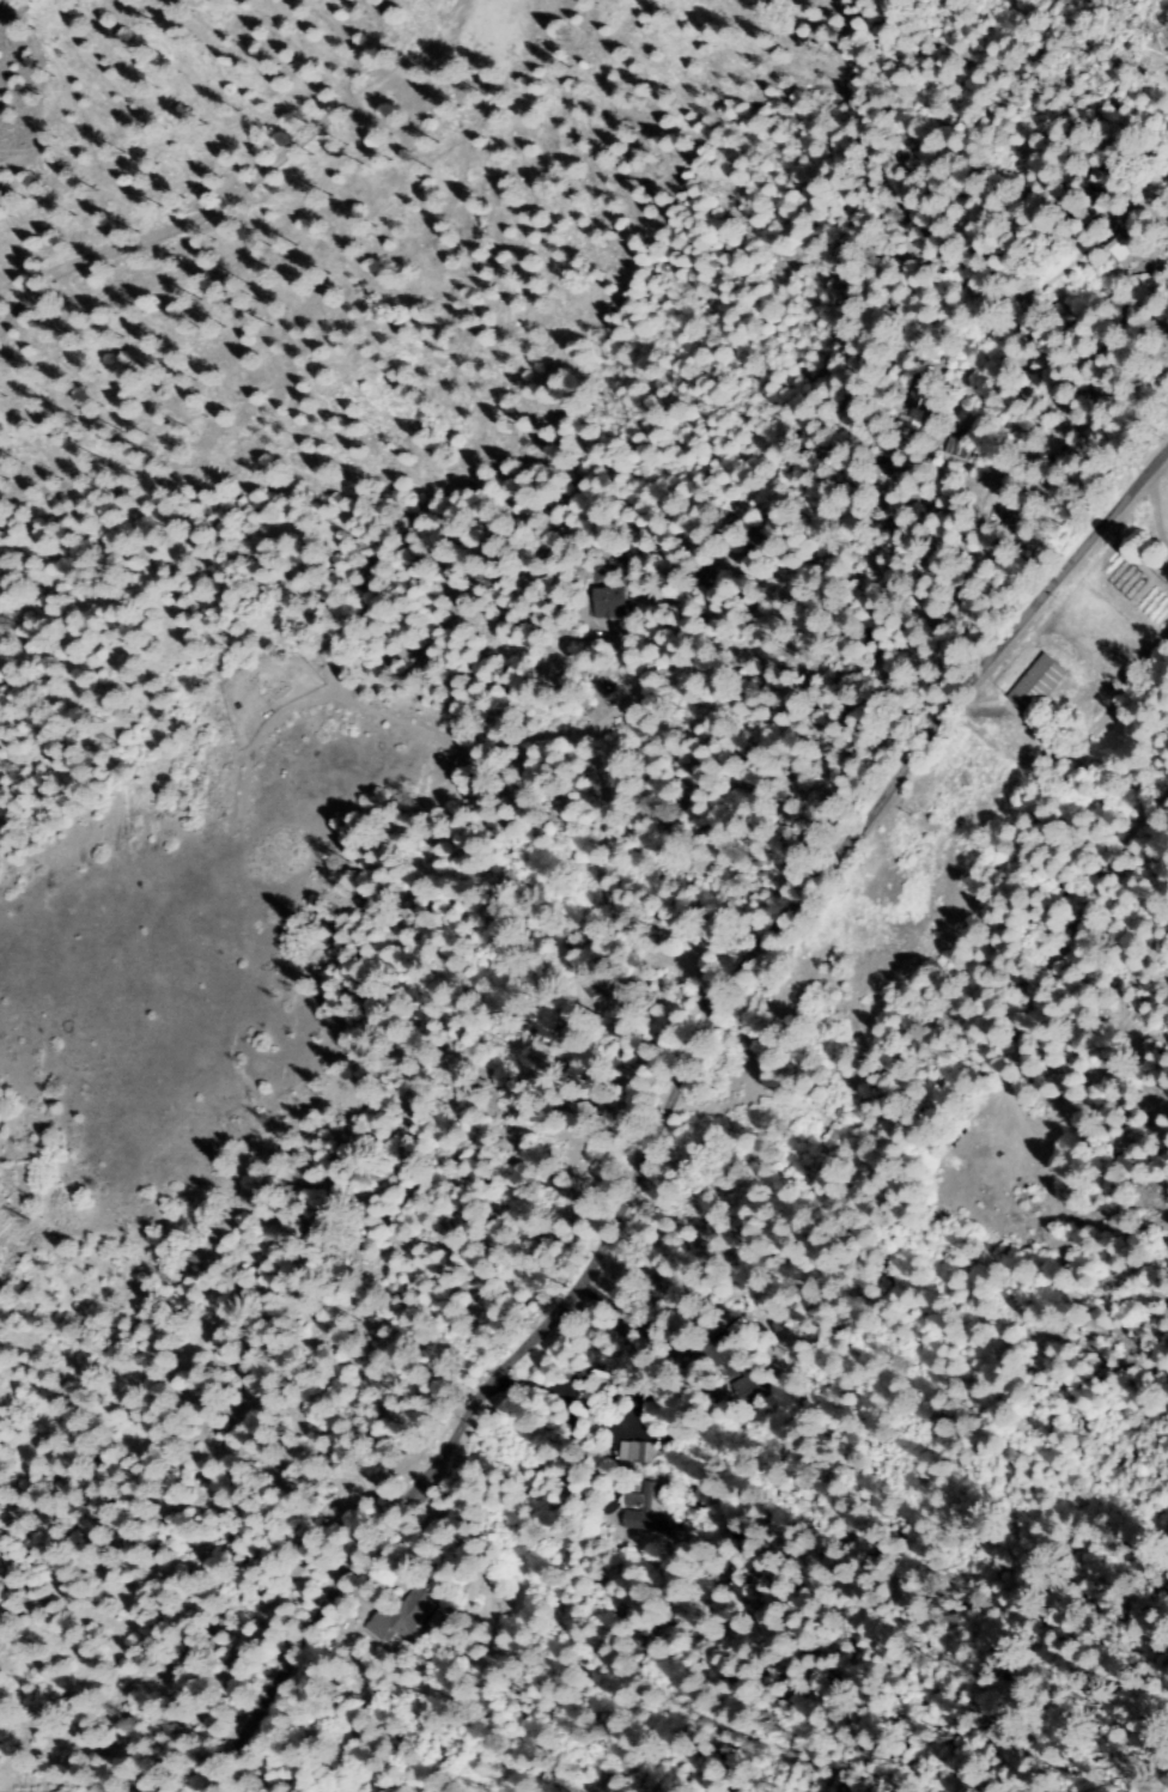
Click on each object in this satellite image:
road: (242, 172)
building: (1095, 177)
building: (1115, 247)
building: (1126, 259)
building: (1148, 288)
building: (919, 401)
building: (962, 445)
building: (1014, 517)
building: (608, 602)
building: (1035, 688)
road: (676, 1113)
building: (747, 1379)
building: (635, 1453)
building: (649, 1500)
building: (404, 1615)

